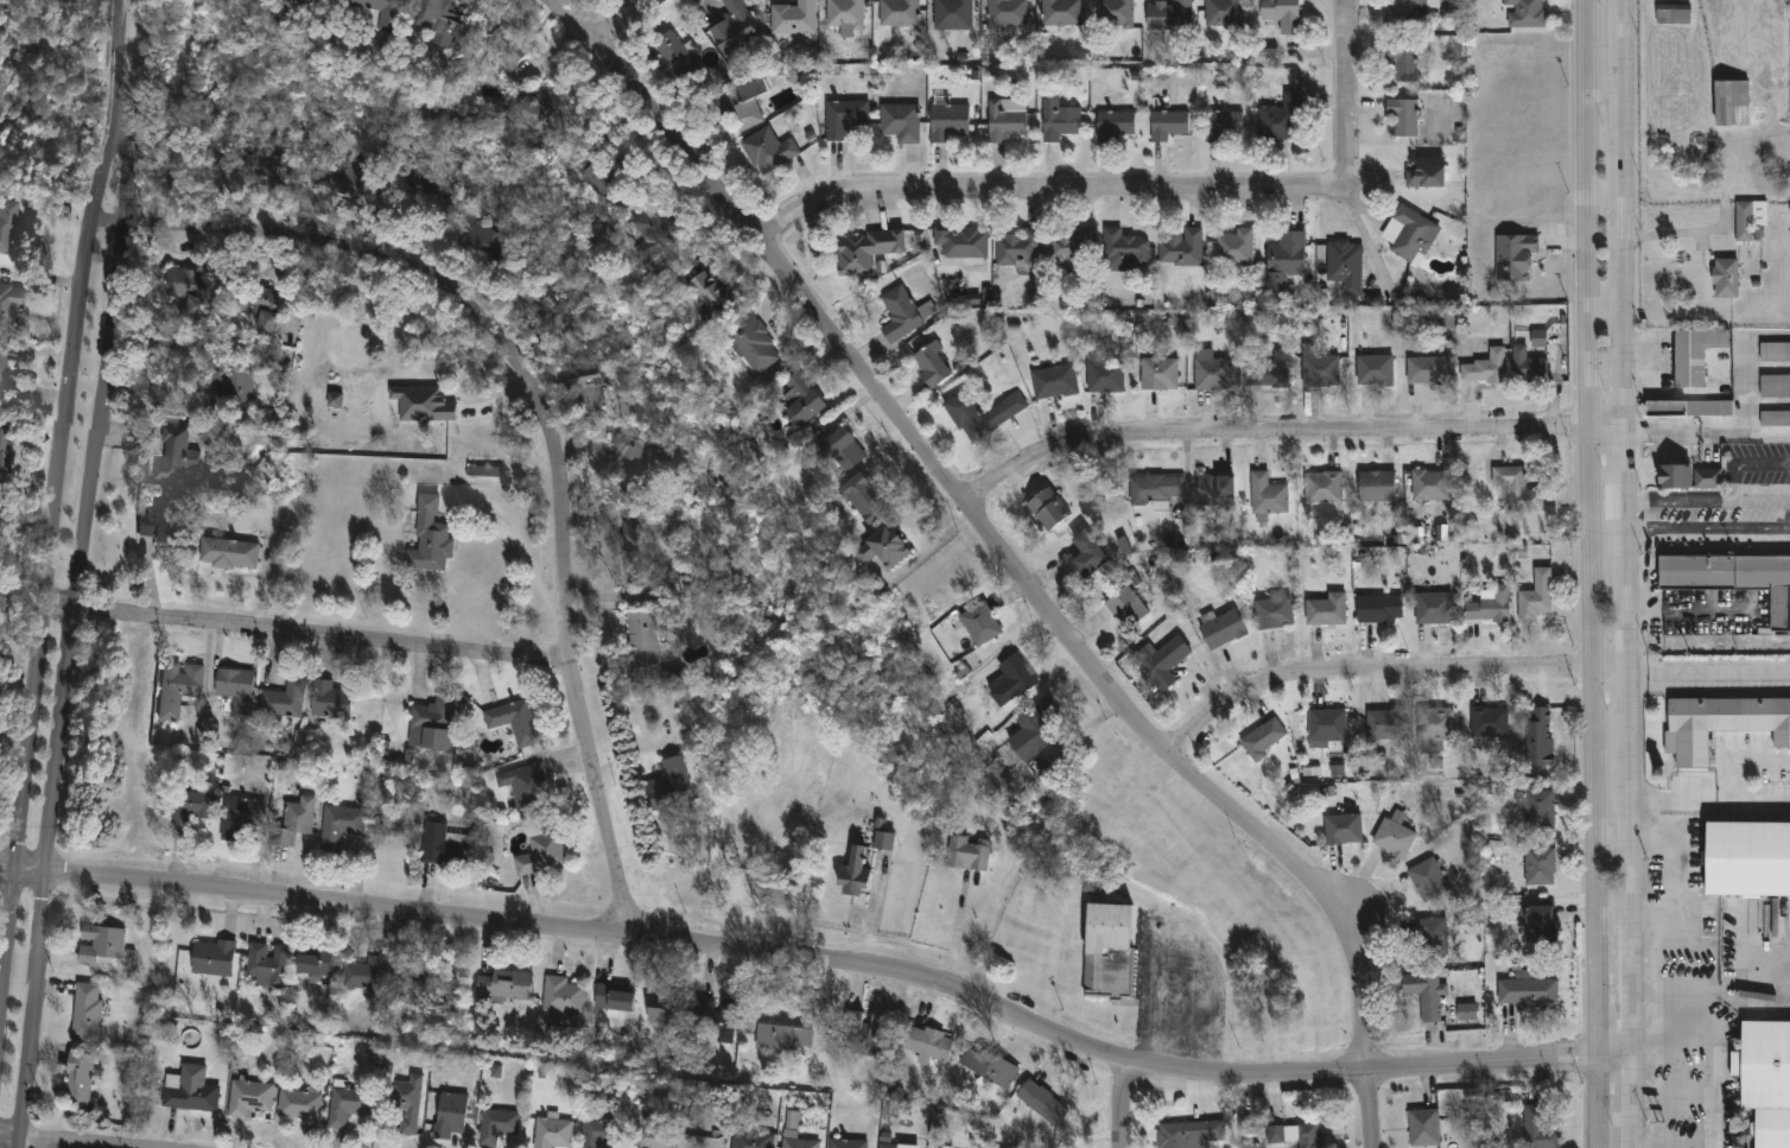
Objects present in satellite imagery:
building: (307, 0)
building: (377, 11)
building: (897, 12)
building: (1115, 12)
building: (844, 13)
building: (948, 13)
building: (1058, 13)
building: (1220, 13)
building: (1281, 13)
building: (1525, 13)
building: (1671, 13)
building: (1004, 14)
building: (1168, 14)
building: (1408, 14)
building: (789, 18)
road: (615, 19)
building: (438, 20)
building: (734, 30)
building: (507, 43)
building: (675, 53)
building: (1403, 59)
road: (1351, 90)
building: (1731, 101)
building: (737, 104)
building: (531, 109)
building: (1058, 115)
building: (1403, 115)
building: (843, 116)
building: (1005, 118)
building: (1278, 118)
building: (946, 119)
building: (900, 121)
building: (1166, 122)
building: (1112, 123)
building: (1220, 123)
building: (767, 150)
building: (265, 165)
building: (1423, 171)
building: (602, 173)
building: (418, 176)
building: (343, 177)
road: (1043, 186)
building: (1748, 218)
building: (11, 224)
building: (653, 230)
building: (1409, 233)
building: (487, 237)
building: (961, 245)
building: (1017, 247)
building: (1072, 247)
building: (1124, 247)
building: (1181, 248)
road: (812, 249)
building: (867, 249)
building: (1234, 249)
building: (1513, 255)
building: (1284, 262)
building: (1344, 266)
building: (1725, 277)
building: (179, 288)
building: (712, 290)
building: (11, 303)
building: (253, 306)
building: (541, 311)
building: (903, 313)
road: (776, 332)
building: (1538, 338)
building: (751, 343)
building: (1773, 350)
building: (1694, 354)
building: (1528, 366)
building: (928, 367)
building: (1318, 367)
building: (1486, 367)
building: (1373, 368)
building: (9, 369)
building: (1429, 369)
building: (1275, 370)
building: (1157, 373)
building: (1103, 374)
building: (1211, 374)
building: (1052, 381)
building: (1775, 385)
building: (584, 386)
building: (229, 387)
building: (802, 397)
building: (335, 400)
building: (423, 404)
building: (1688, 408)
road: (548, 410)
building: (975, 414)
building: (1775, 418)
road: (1771, 430)
road: (1751, 431)
road: (1284, 435)
building: (7, 452)
building: (842, 454)
building: (173, 455)
building: (629, 458)
building: (1675, 476)
building: (1707, 478)
building: (1376, 486)
building: (1432, 486)
building: (1154, 489)
building: (1214, 489)
building: (1322, 489)
building: (1517, 489)
building: (1265, 496)
building: (864, 499)
road: (1726, 501)
building: (1046, 509)
road: (53, 514)
building: (163, 526)
road: (1707, 529)
building: (427, 537)
road: (931, 546)
building: (881, 548)
building: (634, 550)
building: (224, 553)
building: (1085, 554)
road: (527, 558)
road: (1007, 562)
road: (78, 573)
road: (1589, 573)
road: (1626, 573)
building: (1733, 578)
building: (1535, 596)
building: (1490, 605)
building: (1124, 607)
building: (1378, 608)
building: (1433, 608)
building: (1326, 609)
building: (1272, 613)
road: (1690, 614)
building: (979, 623)
building: (1219, 628)
road: (306, 634)
building: (640, 638)
building: (1157, 665)
road: (1384, 668)
road: (1708, 674)
building: (1009, 680)
building: (176, 687)
building: (235, 692)
building: (281, 699)
building: (329, 700)
building: (432, 719)
building: (513, 722)
building: (1489, 722)
building: (1388, 724)
building: (1721, 724)
building: (1331, 727)
building: (1434, 727)
building: (1026, 735)
building: (1262, 738)
building: (1537, 738)
building: (523, 786)
building: (667, 786)
road: (1719, 798)
building: (192, 807)
building: (1536, 807)
building: (237, 814)
building: (292, 820)
building: (337, 825)
building: (533, 826)
building: (1341, 829)
building: (1394, 836)
building: (884, 841)
building: (440, 844)
building: (965, 854)
building: (539, 855)
building: (1746, 860)
building: (1538, 867)
building: (851, 874)
building: (1427, 880)
road: (1668, 881)
road: (1344, 907)
building: (1468, 918)
building: (1536, 919)
road: (957, 932)
building: (1430, 937)
building: (101, 945)
building: (1106, 953)
road: (825, 957)
building: (210, 958)
building: (312, 964)
building: (265, 965)
building: (362, 973)
building: (412, 973)
building: (503, 987)
road: (1714, 991)
building: (1526, 992)
building: (1424, 994)
building: (560, 996)
building: (611, 1000)
building: (661, 1008)
building: (1467, 1011)
building: (87, 1013)
building: (713, 1019)
building: (863, 1032)
building: (781, 1040)
building: (927, 1045)
road: (1715, 1053)
building: (986, 1067)
building: (77, 1078)
building: (1765, 1080)
road: (1674, 1092)
building: (190, 1095)
building: (1503, 1097)
building: (247, 1098)
building: (1040, 1102)
building: (405, 1103)
building: (344, 1104)
building: (299, 1105)
road: (1126, 1105)
building: (448, 1116)
building: (495, 1127)
building: (1423, 1127)
building: (1537, 1130)
building: (550, 1131)
building: (597, 1133)
building: (648, 1134)
building: (1188, 1134)
building: (1294, 1134)
building: (747, 1140)
road: (51, 1141)
building: (795, 1142)
building: (846, 1142)
building: (886, 1144)
building: (945, 1146)

